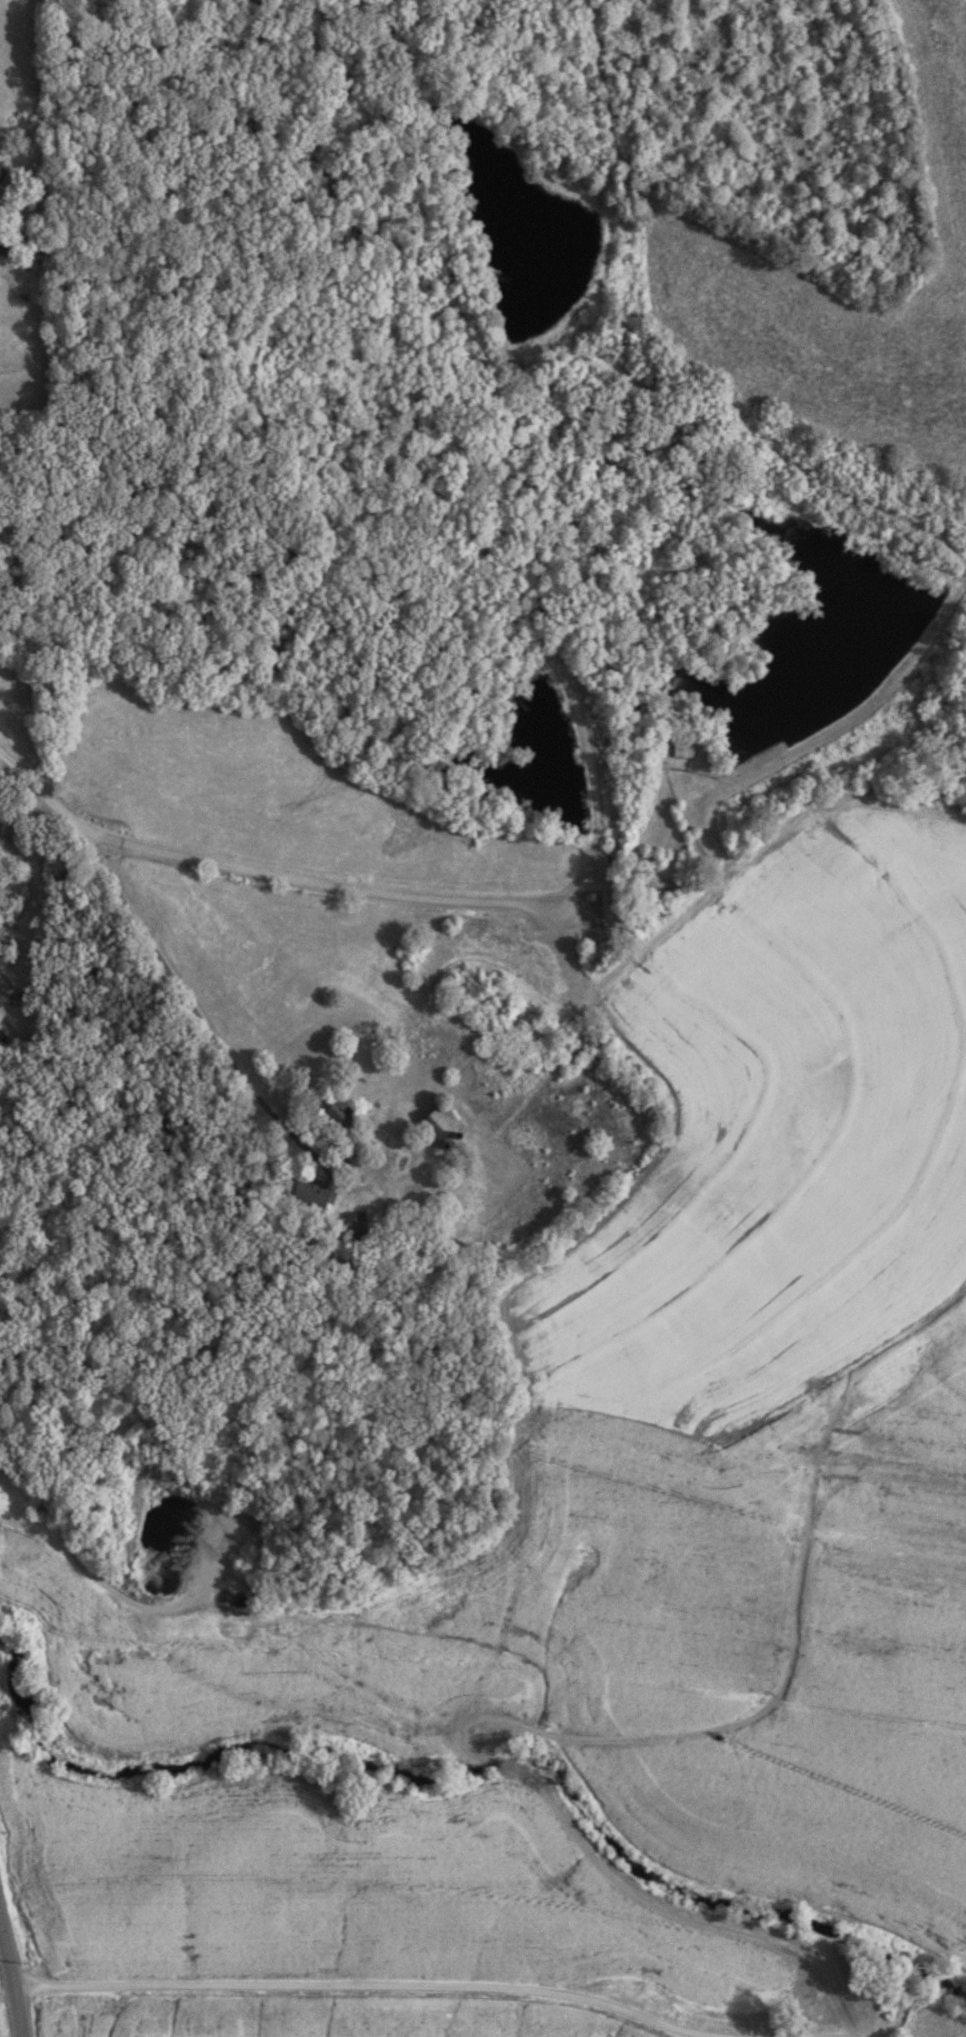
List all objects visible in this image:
building: (2, 173)
building: (3, 252)
building: (684, 751)
road: (312, 884)
building: (330, 1114)
building: (436, 1119)
road: (401, 1173)
building: (454, 1178)
building: (308, 1193)
building: (352, 1231)
river: (476, 1768)
road: (10, 1984)
road: (361, 1987)

